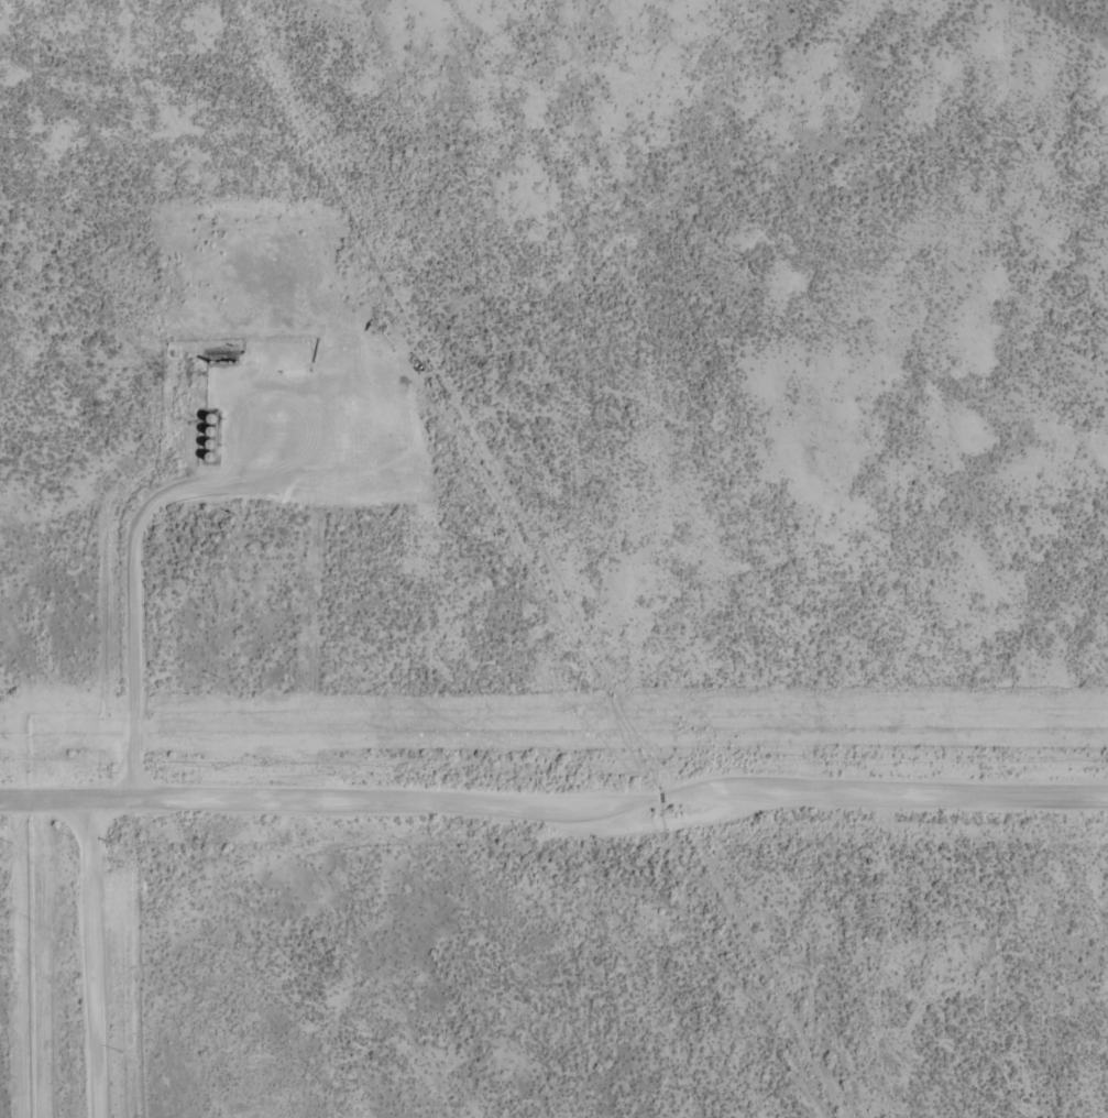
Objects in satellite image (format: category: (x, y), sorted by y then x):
road: (555, 810)

